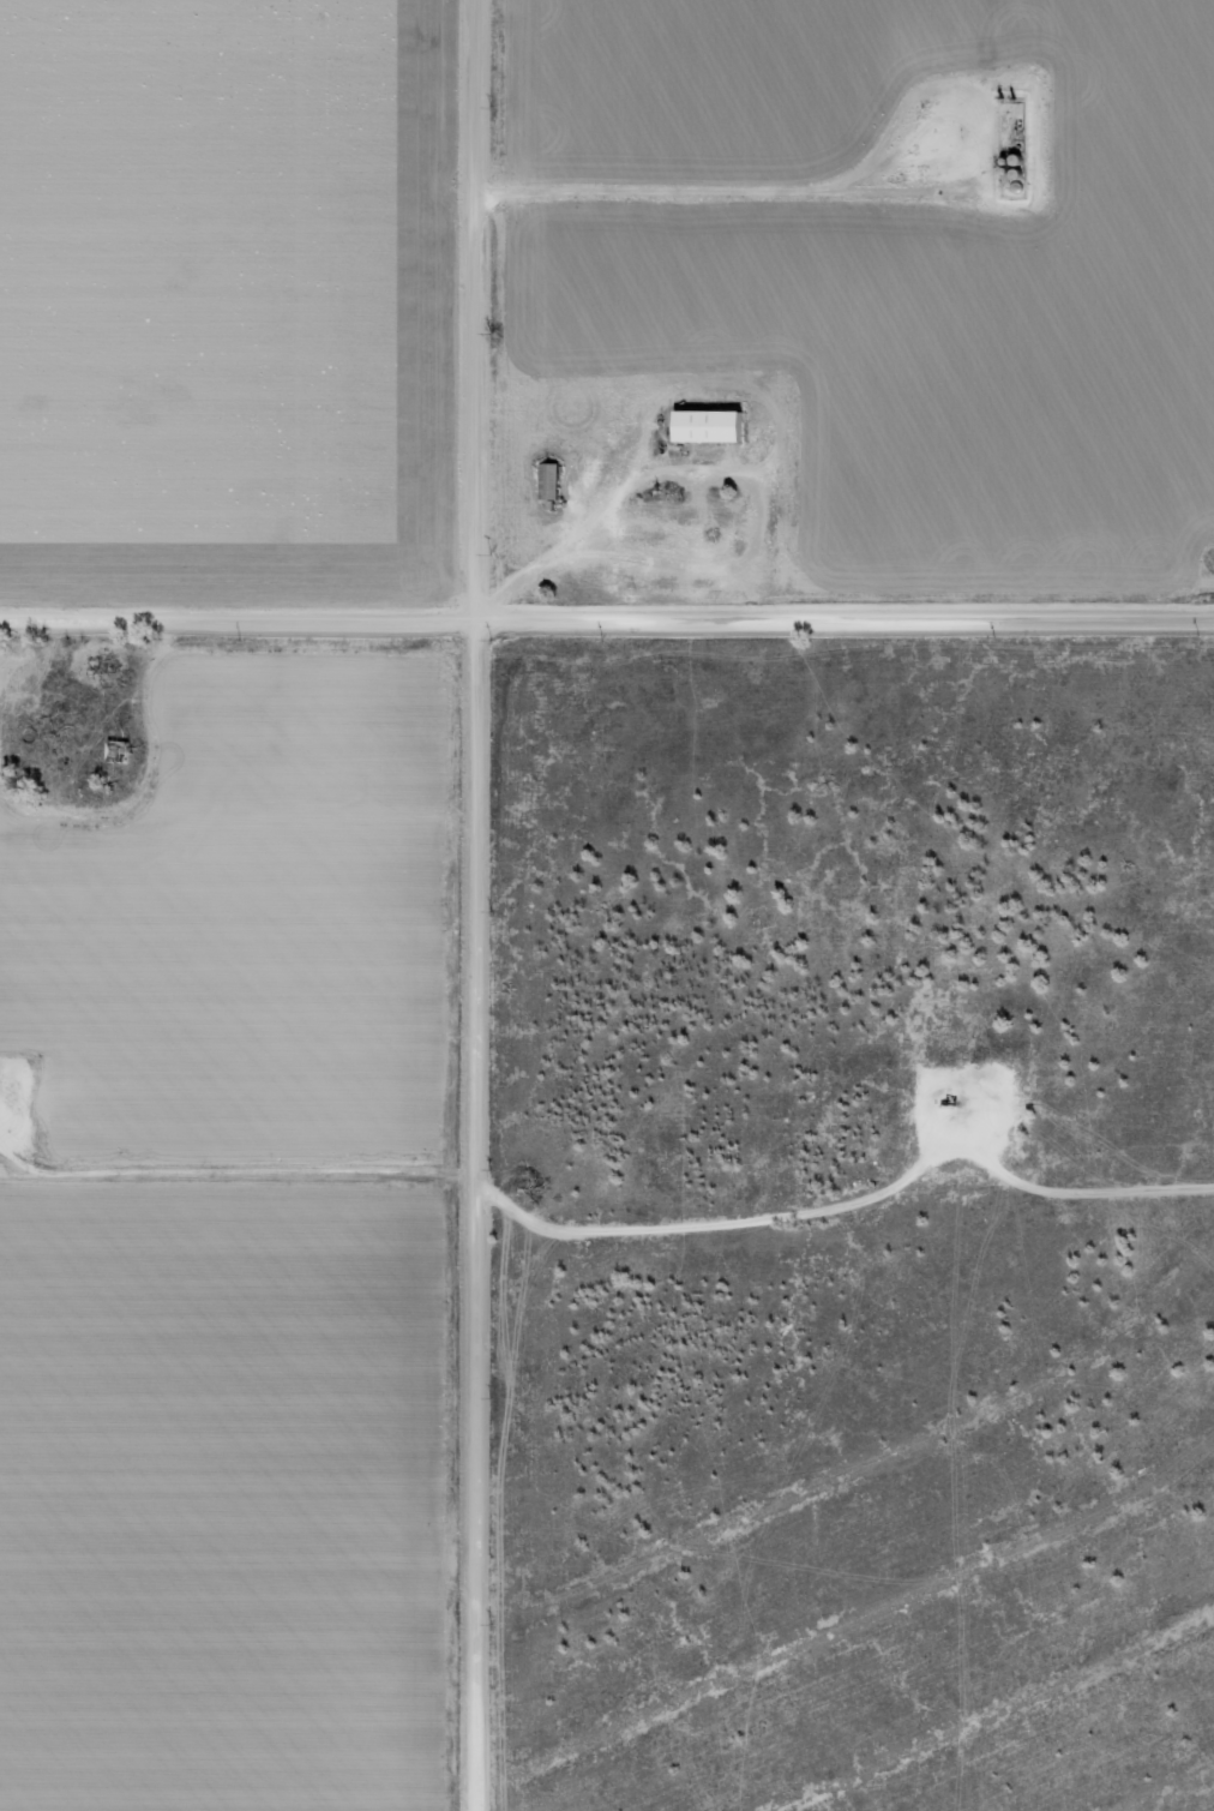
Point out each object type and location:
petroleum well: (946, 134)
building: (710, 425)
road: (607, 617)
road: (469, 905)
petroleum well: (944, 1104)

